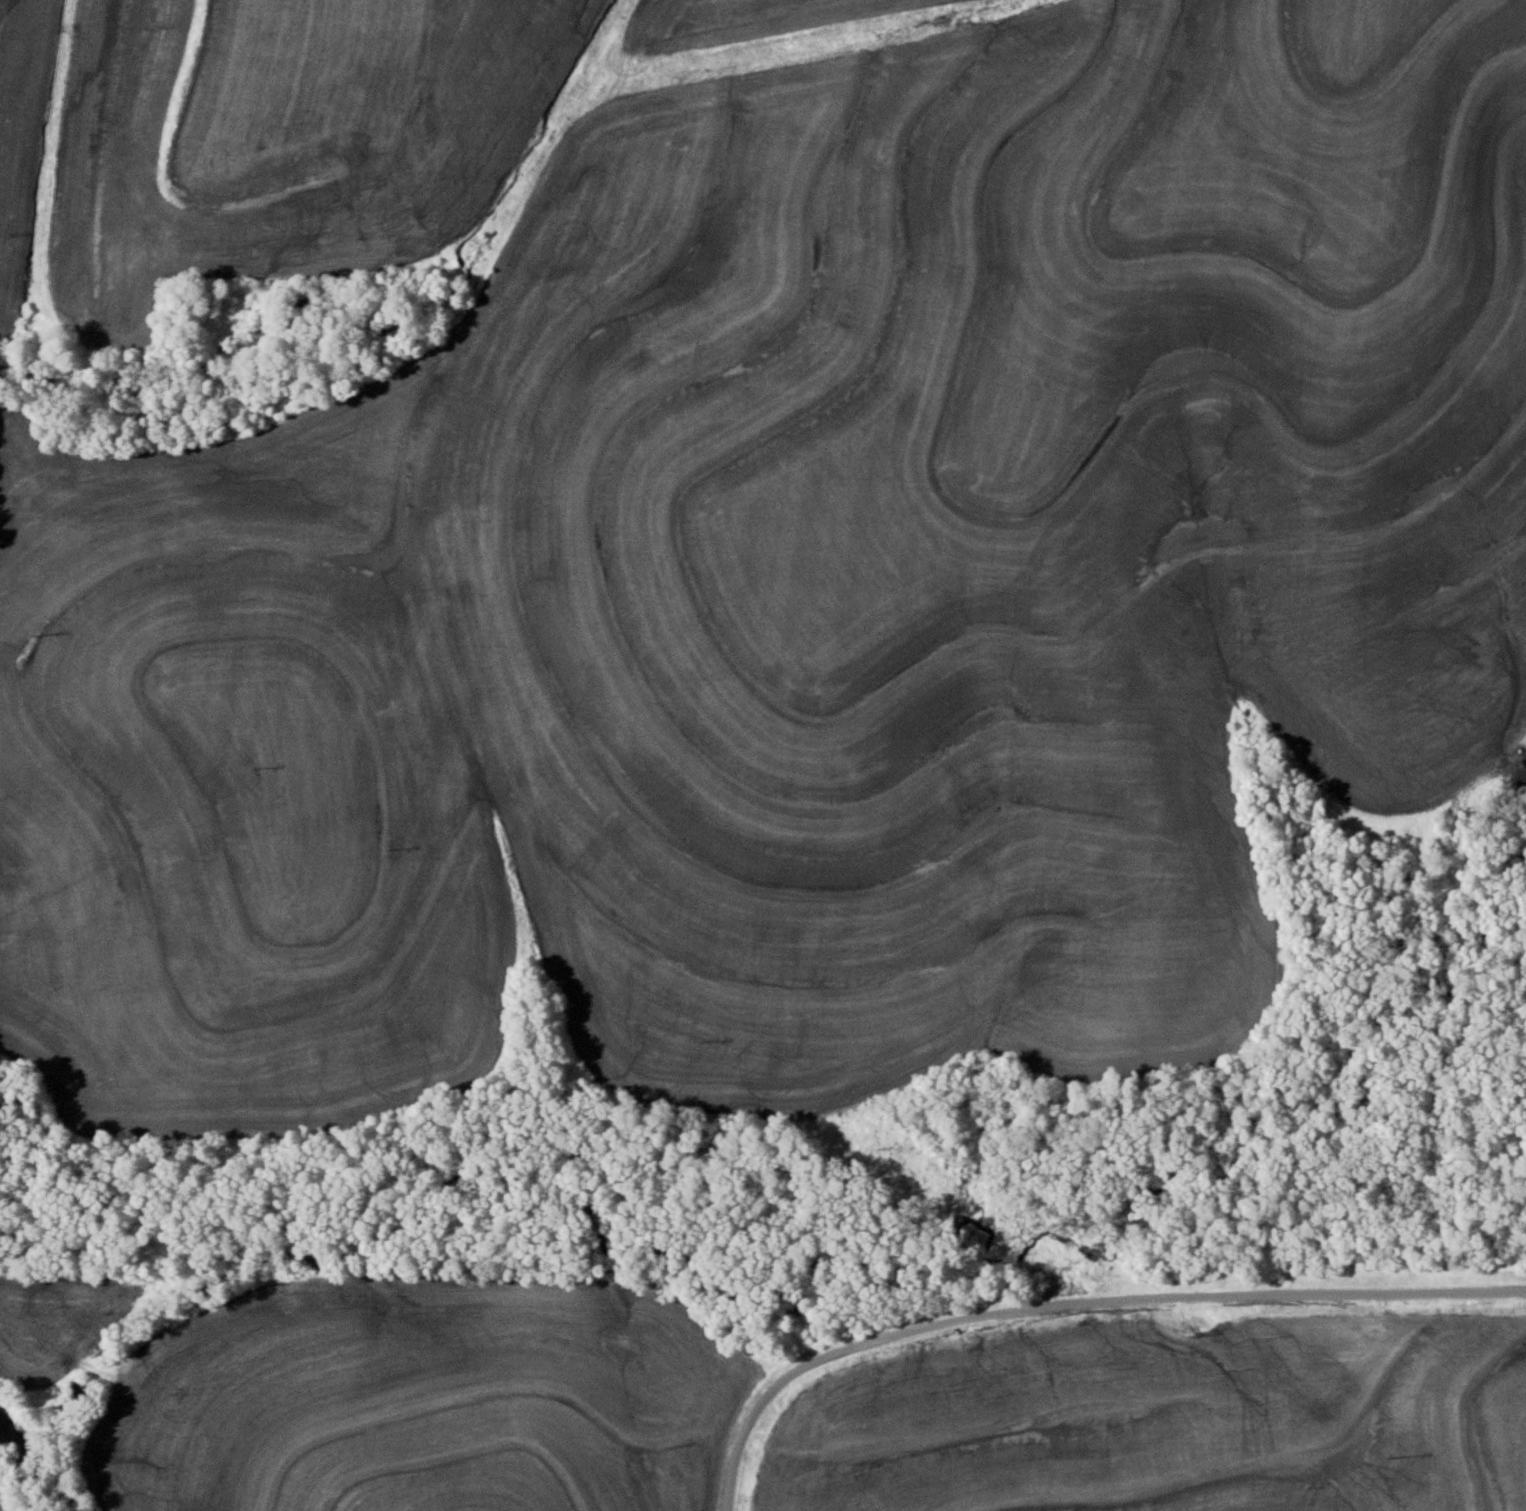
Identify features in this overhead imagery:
road: (1074, 1303)

